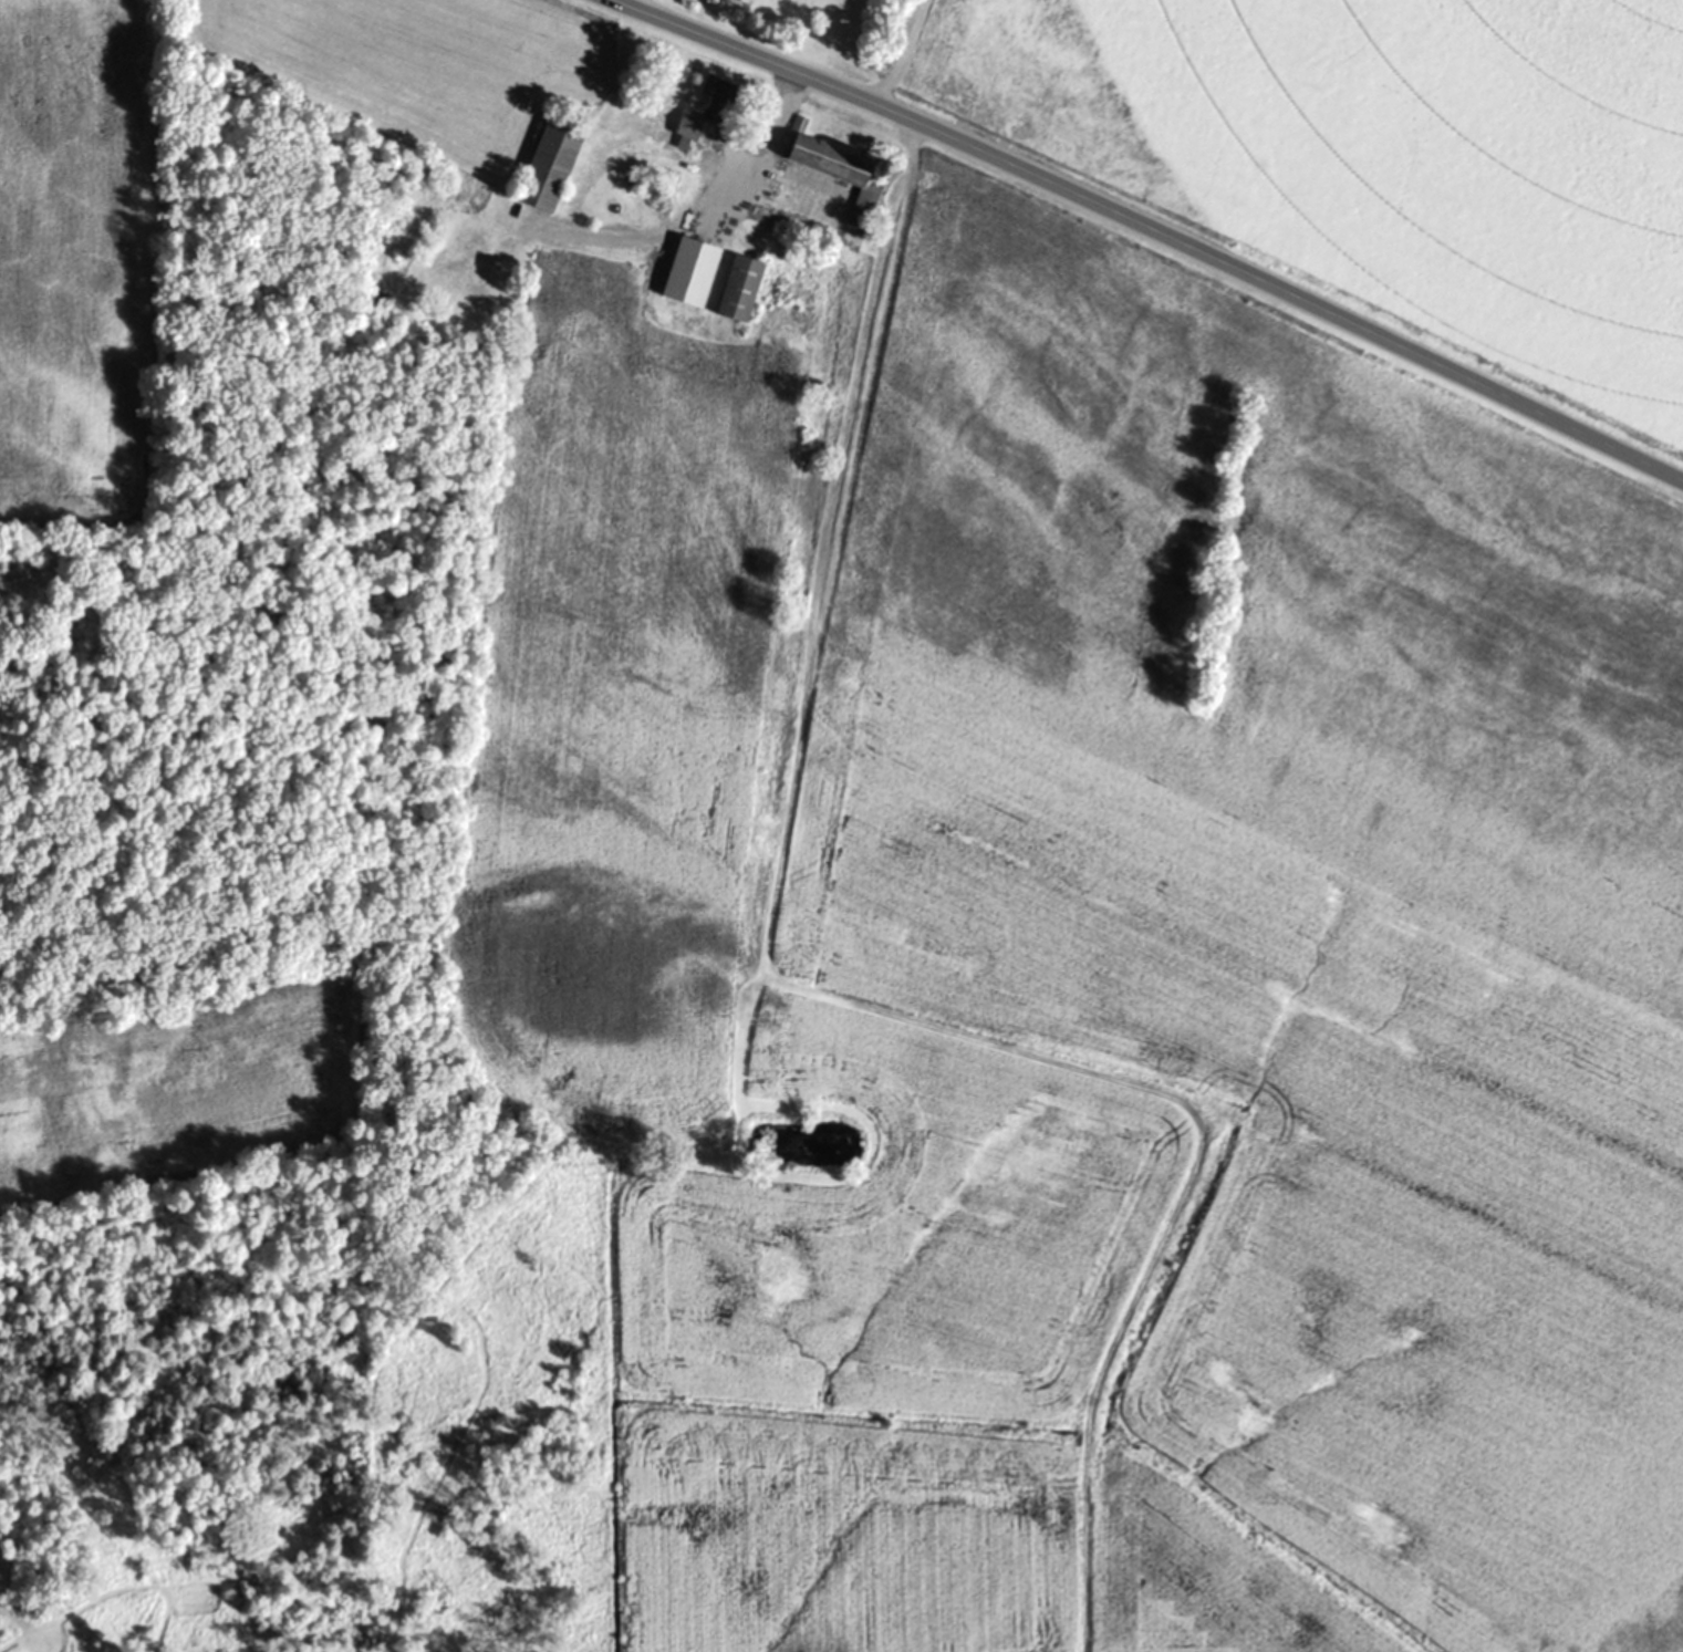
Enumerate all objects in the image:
building: (706, 107)
building: (551, 160)
building: (834, 169)
road: (1145, 233)
building: (703, 267)
building: (738, 287)

